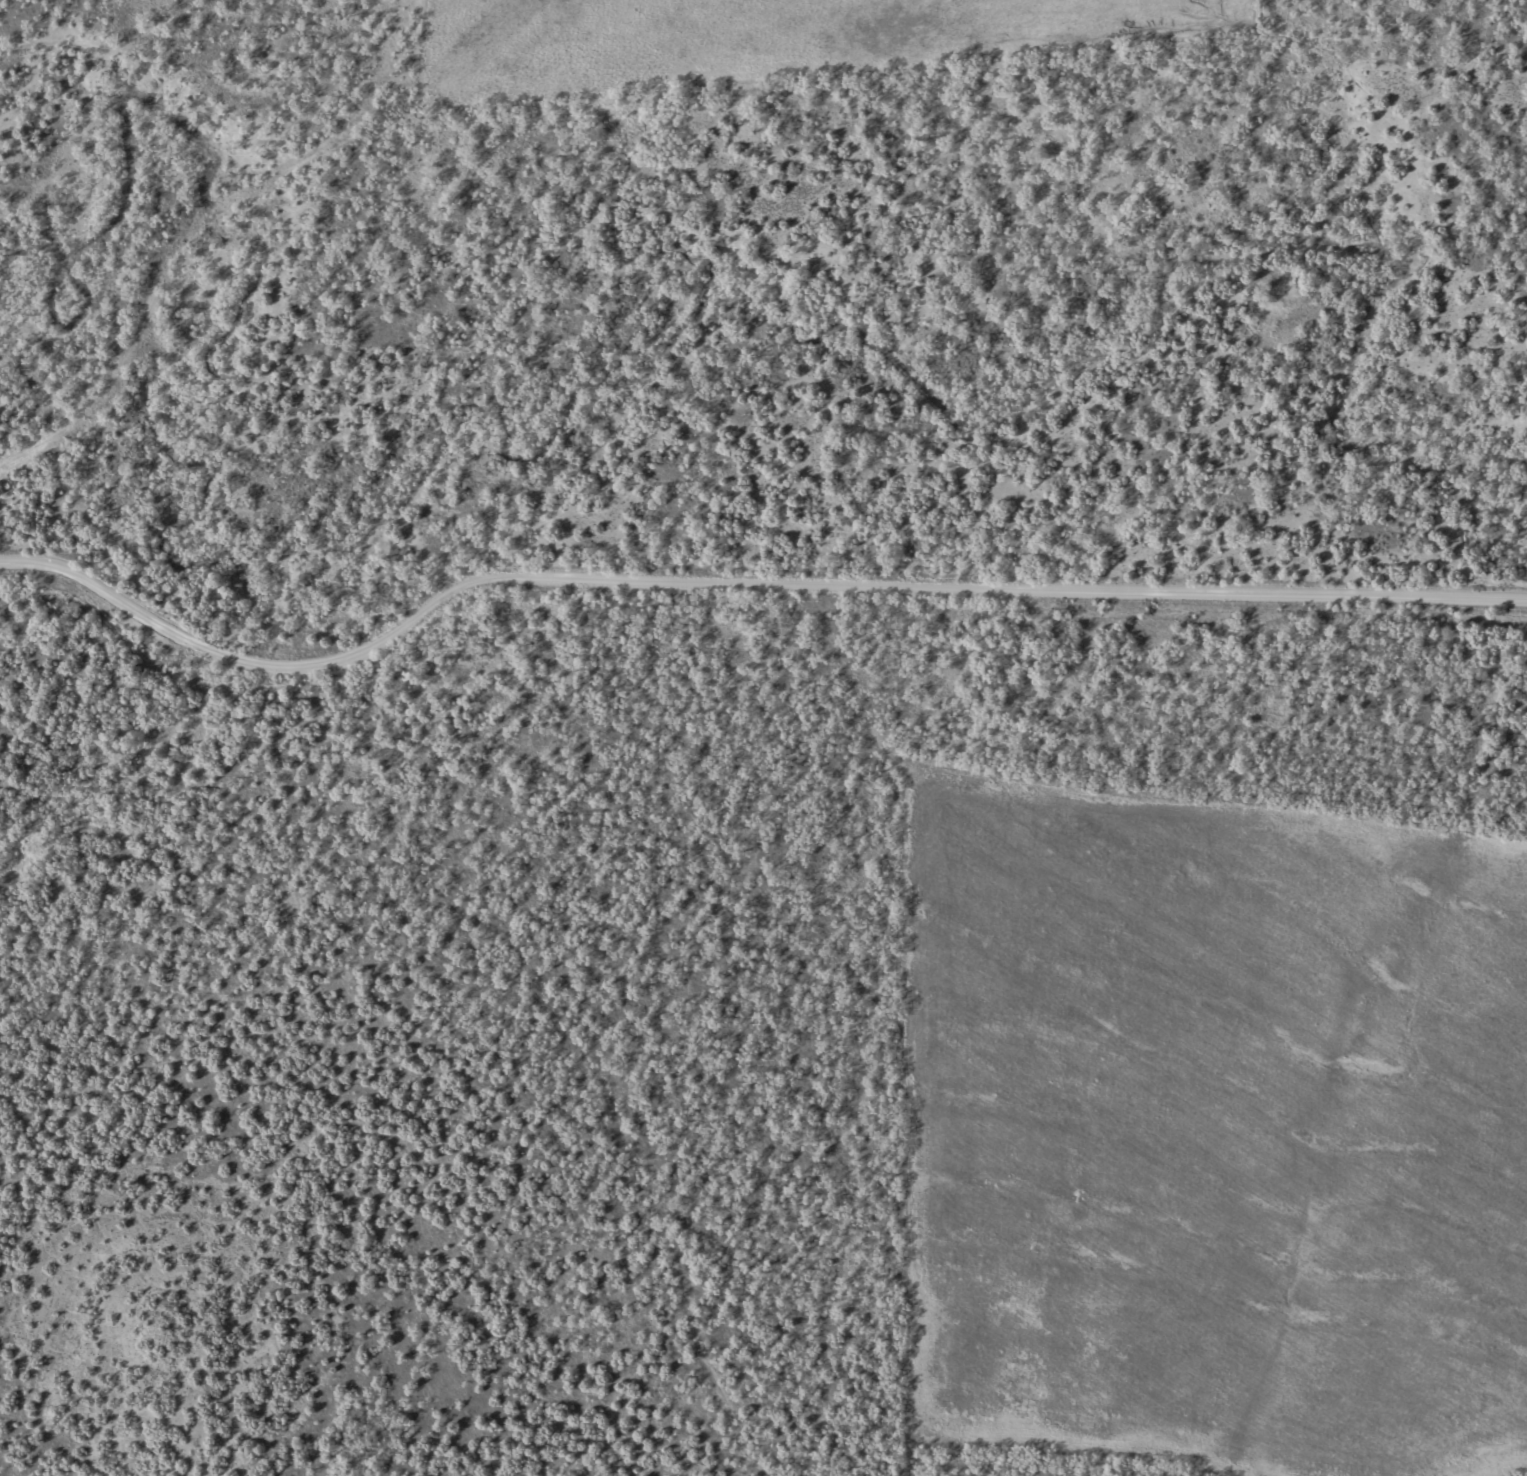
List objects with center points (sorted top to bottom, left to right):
road: (735, 615)
road: (340, 791)
road: (546, 925)

